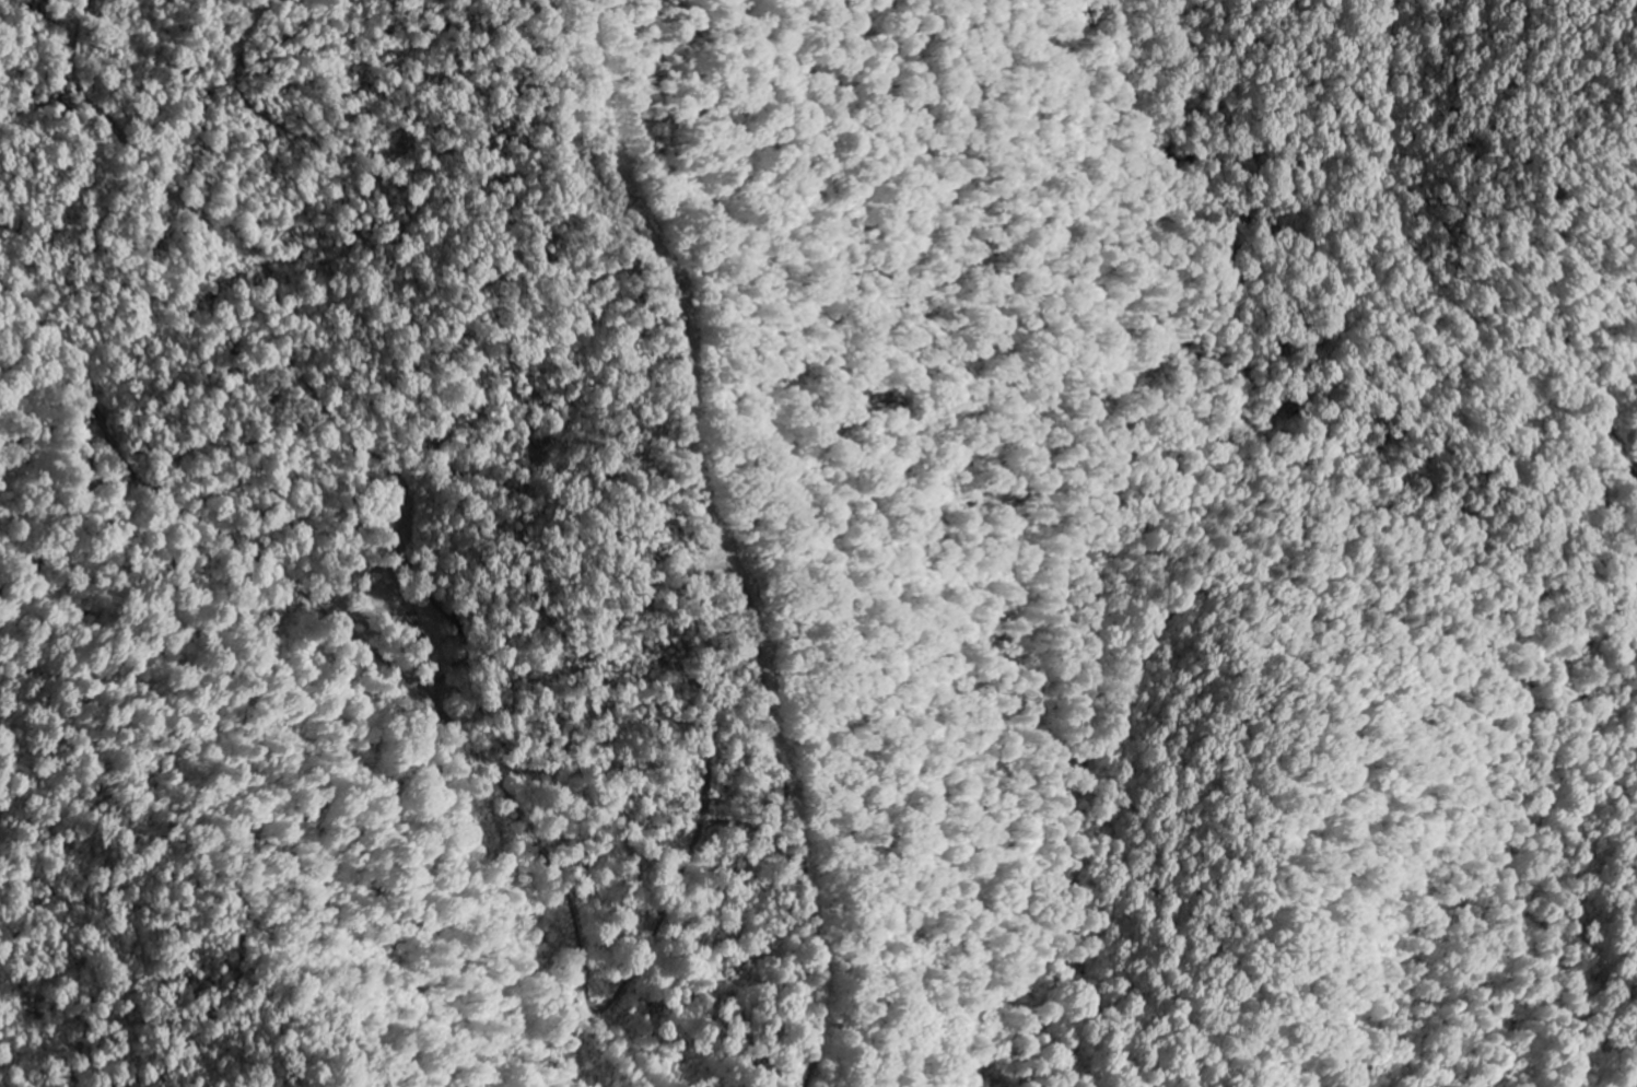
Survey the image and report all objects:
building: (416, 635)

